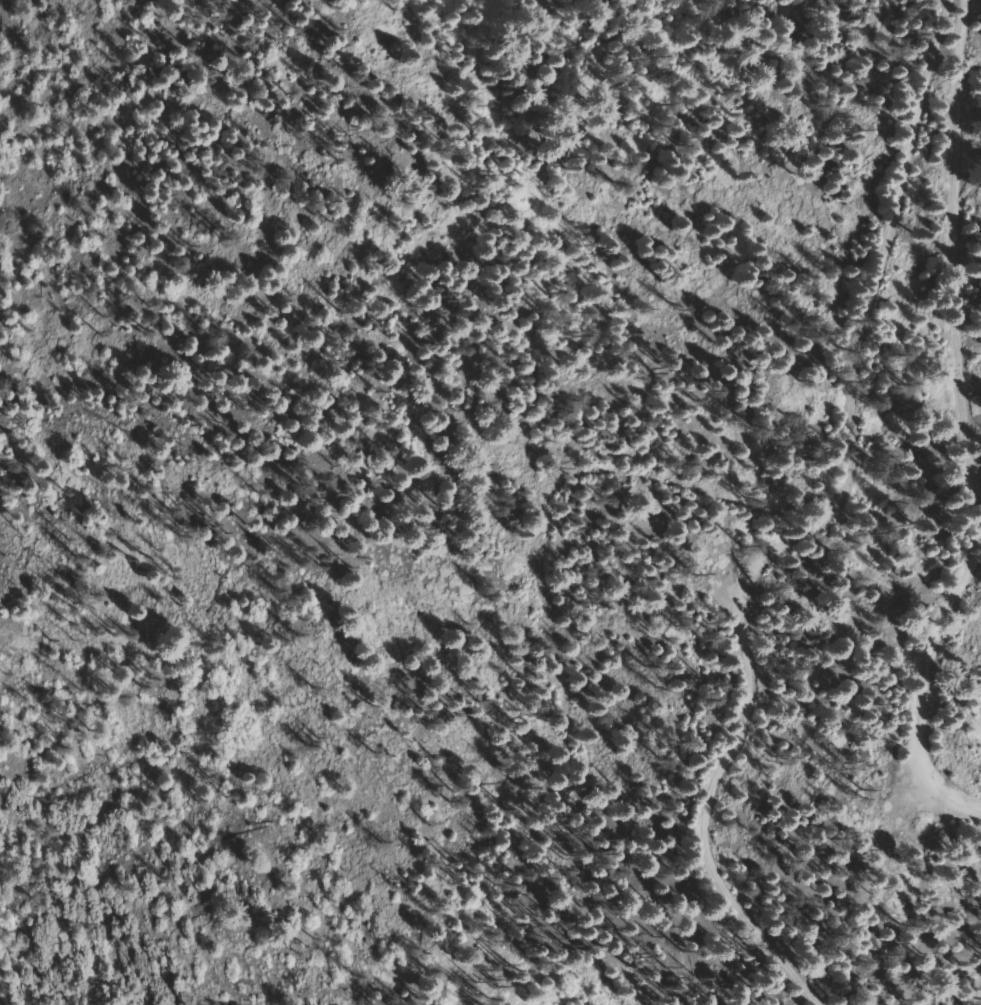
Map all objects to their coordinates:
road: (957, 258)
road: (808, 520)
road: (923, 674)

